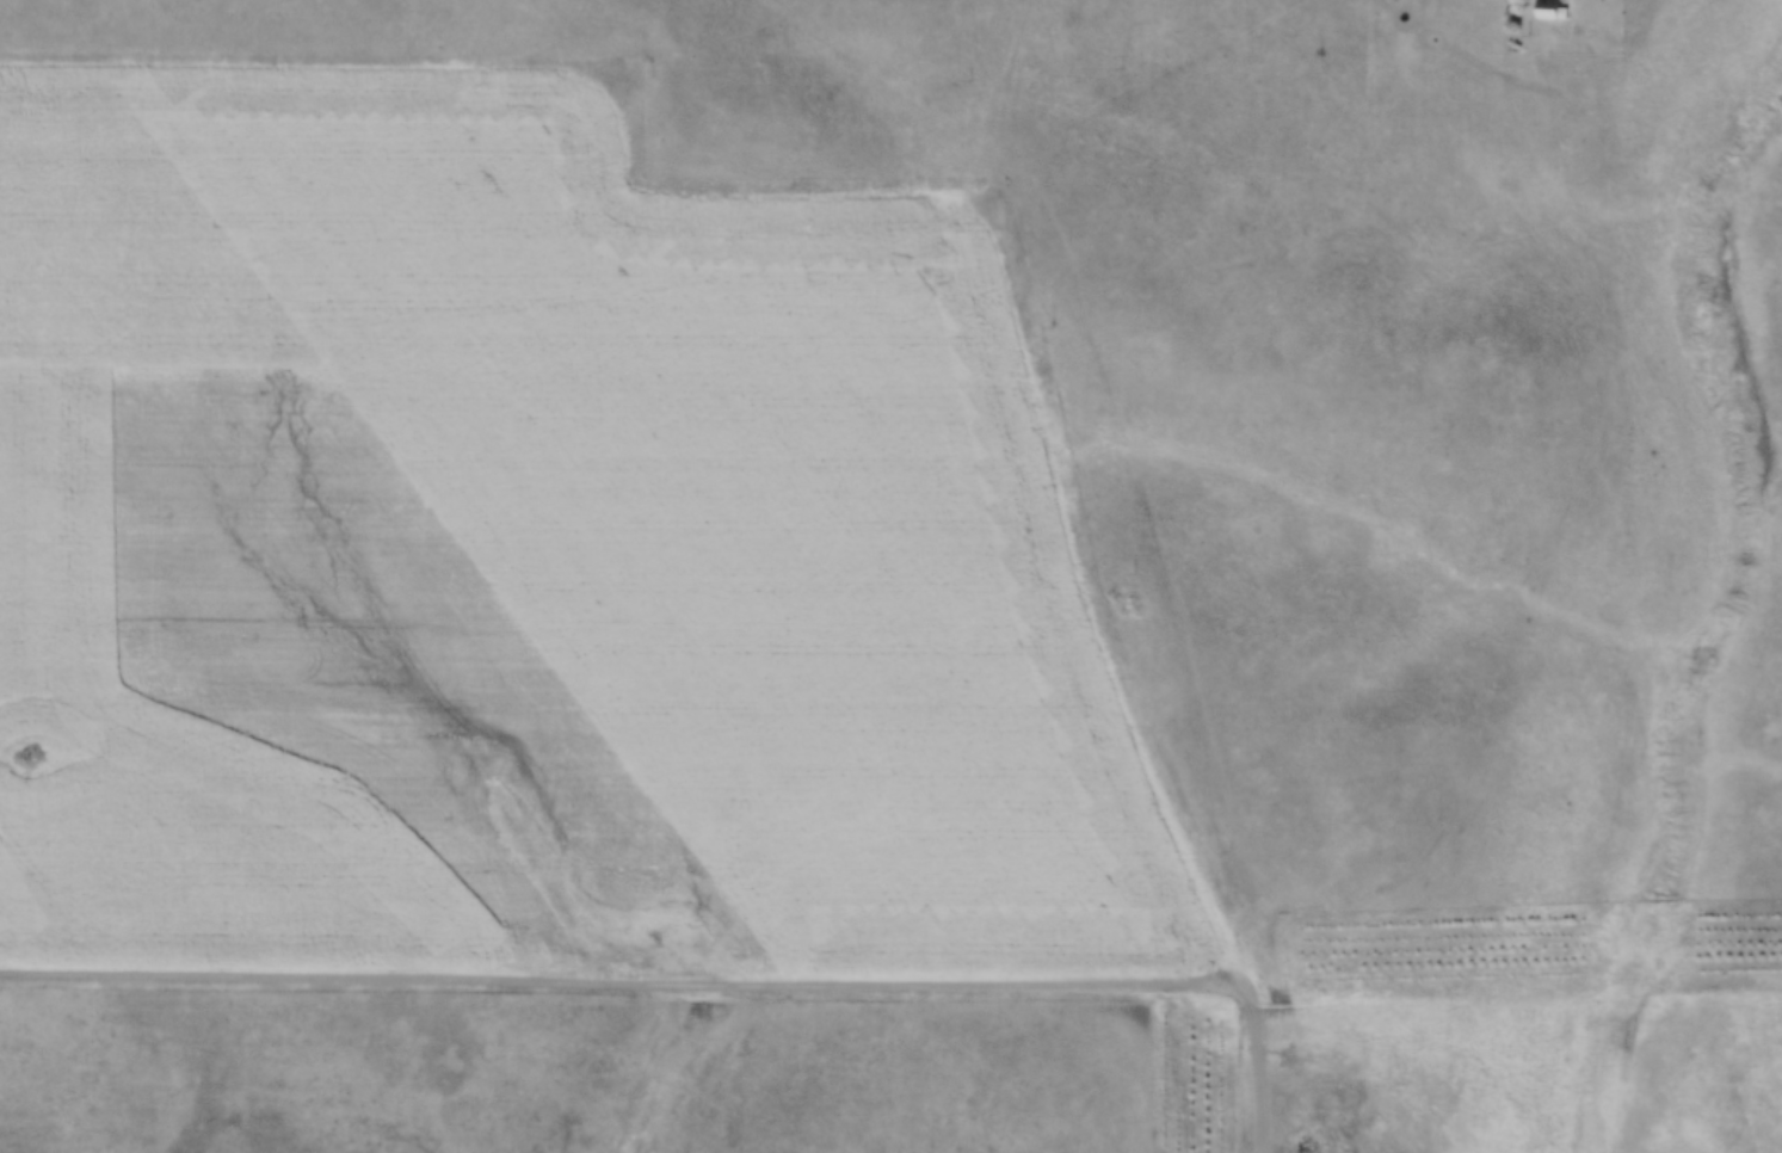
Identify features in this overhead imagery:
building: (1548, 8)
road: (1635, 33)
road: (560, 981)
road: (1177, 1049)

